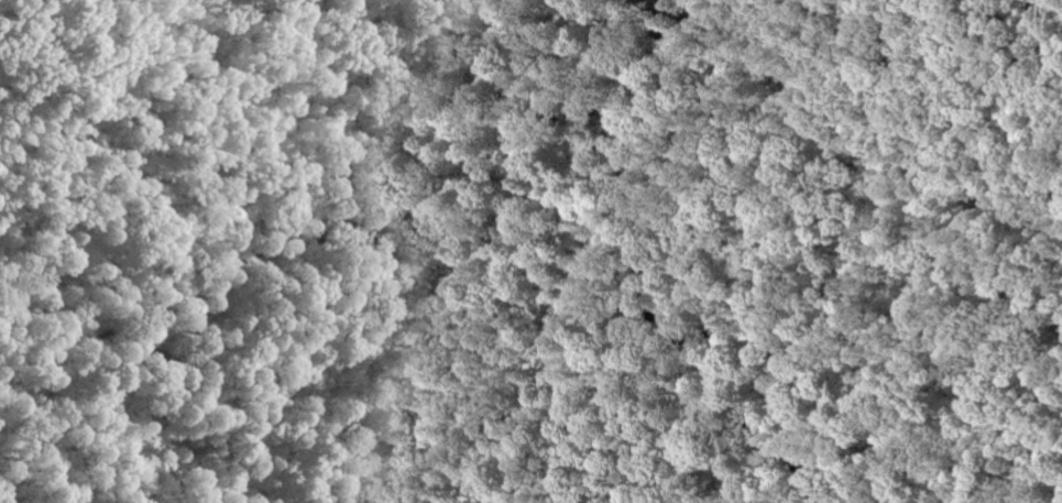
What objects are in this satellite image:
road: (844, 135)
river: (819, 473)

